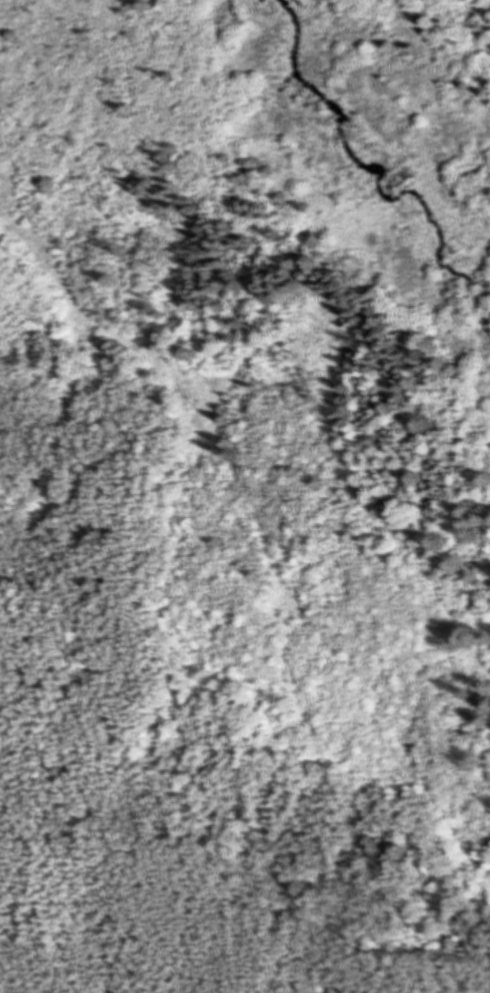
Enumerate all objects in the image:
river: (362, 187)

